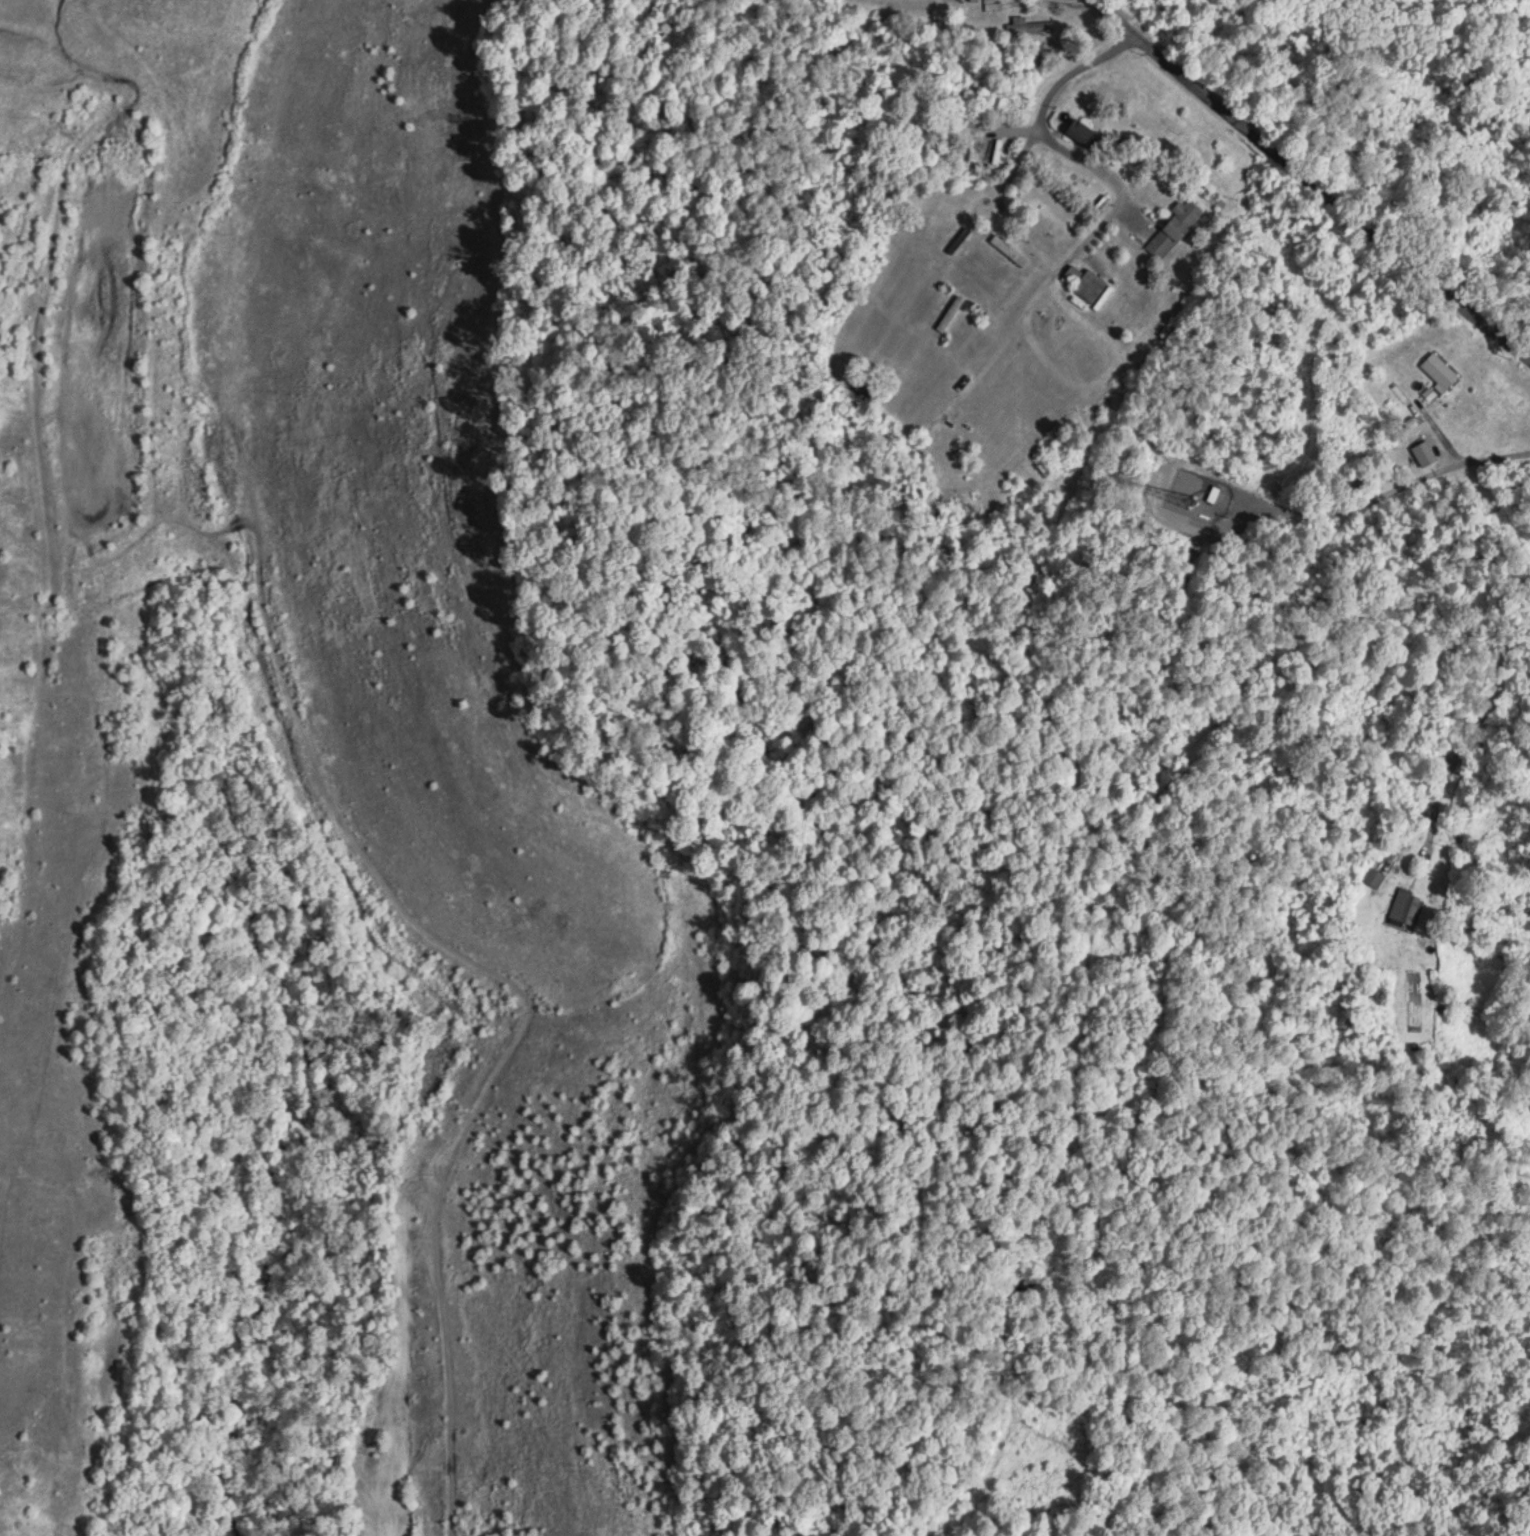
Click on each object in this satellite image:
road: (45, 7)
building: (1030, 24)
building: (963, 88)
building: (1091, 136)
road: (1313, 194)
building: (1175, 225)
building: (1010, 248)
building: (1087, 281)
building: (951, 311)
building: (1440, 369)
road: (1317, 425)
road: (1301, 439)
building: (1377, 874)
building: (1407, 904)
road: (1485, 1462)

